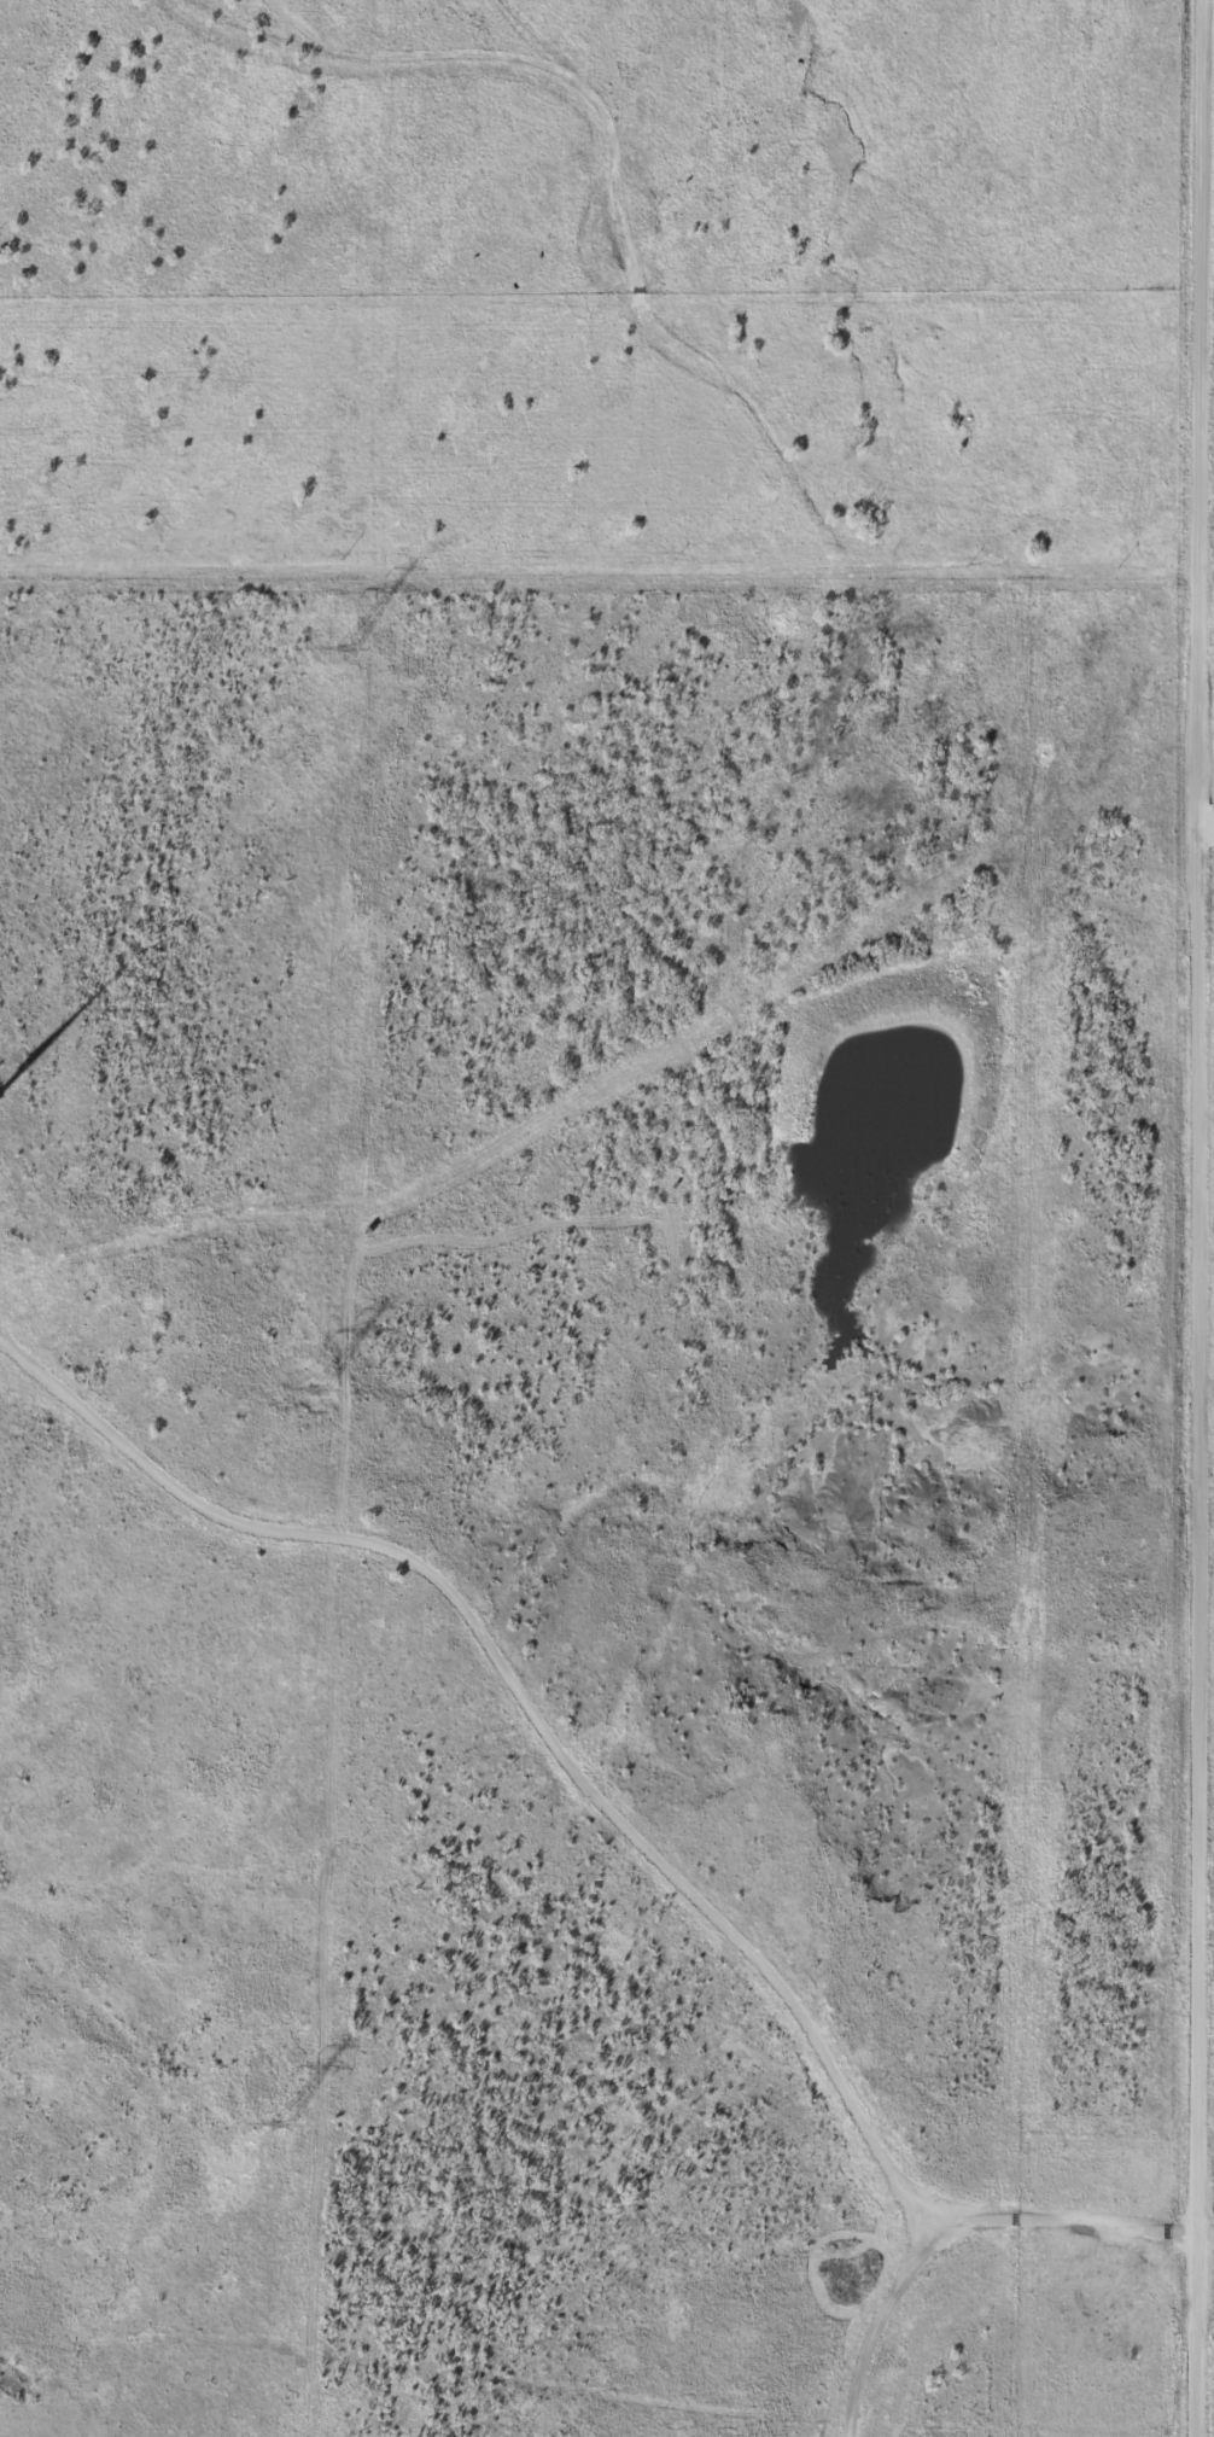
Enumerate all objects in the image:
road: (758, 441)
power tower: (348, 646)
road: (1208, 843)
road: (1203, 1218)
power tower: (320, 1387)
power tower: (278, 2122)
road: (572, 2400)

